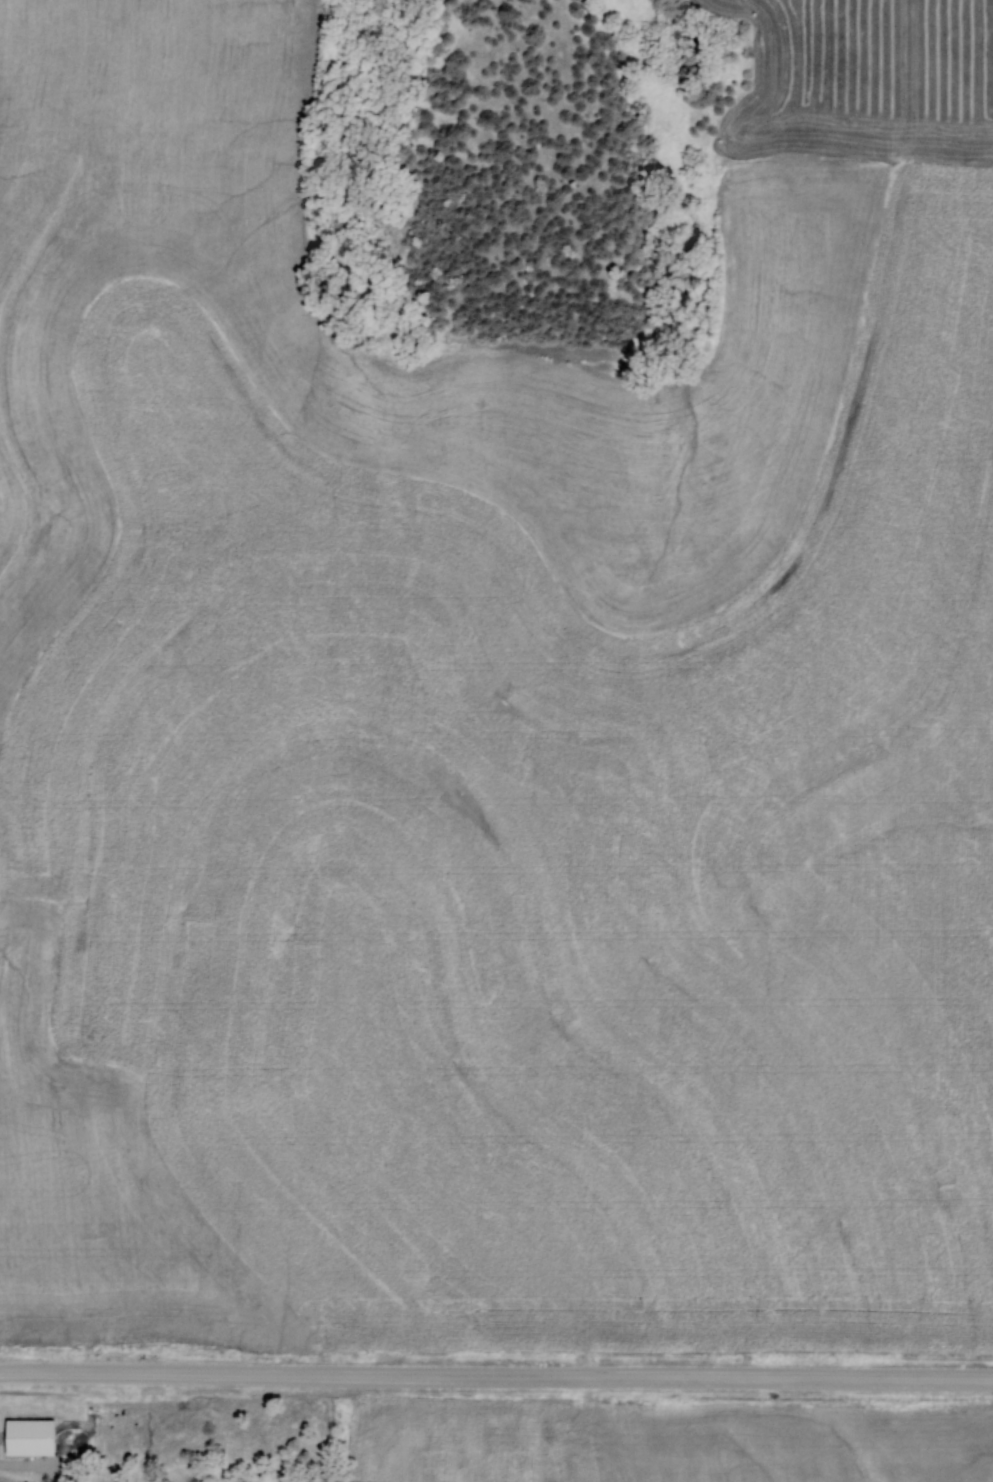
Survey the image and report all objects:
road: (496, 1374)
building: (37, 1437)

